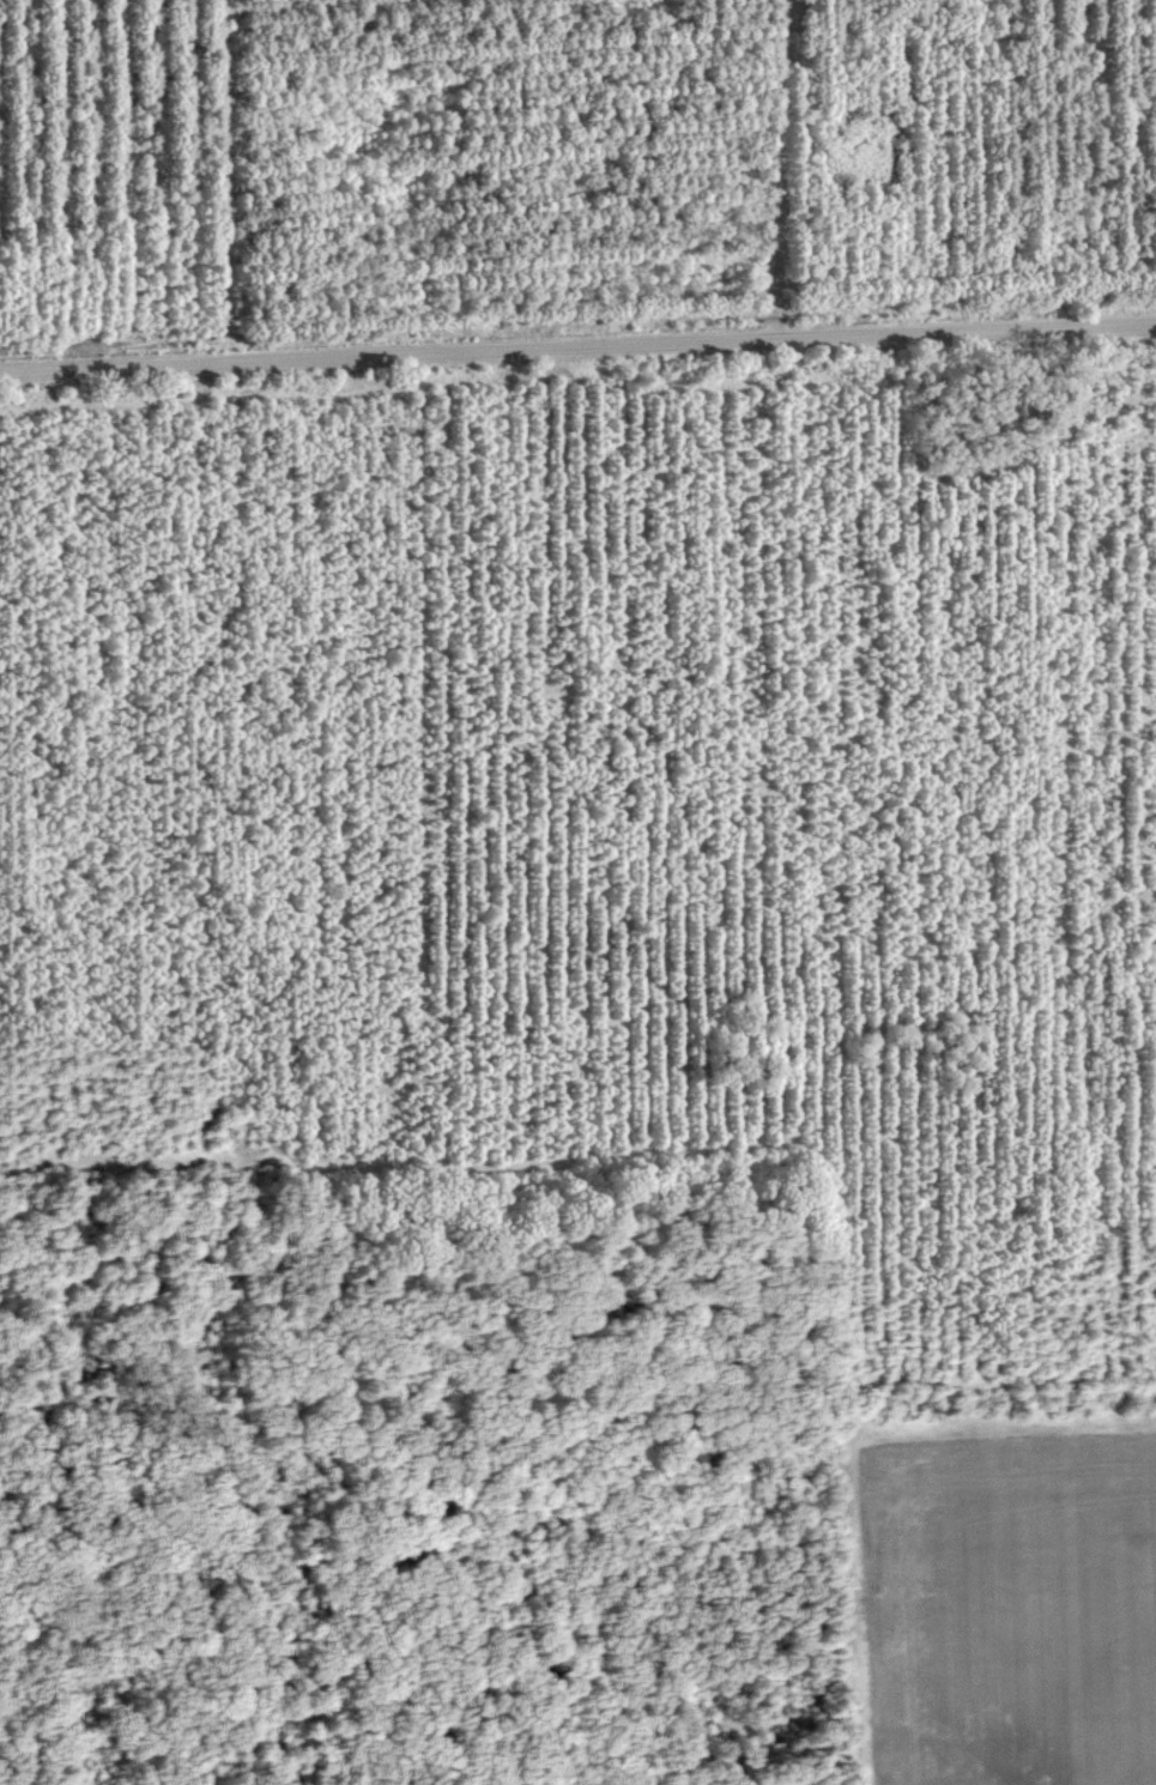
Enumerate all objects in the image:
road: (577, 346)

